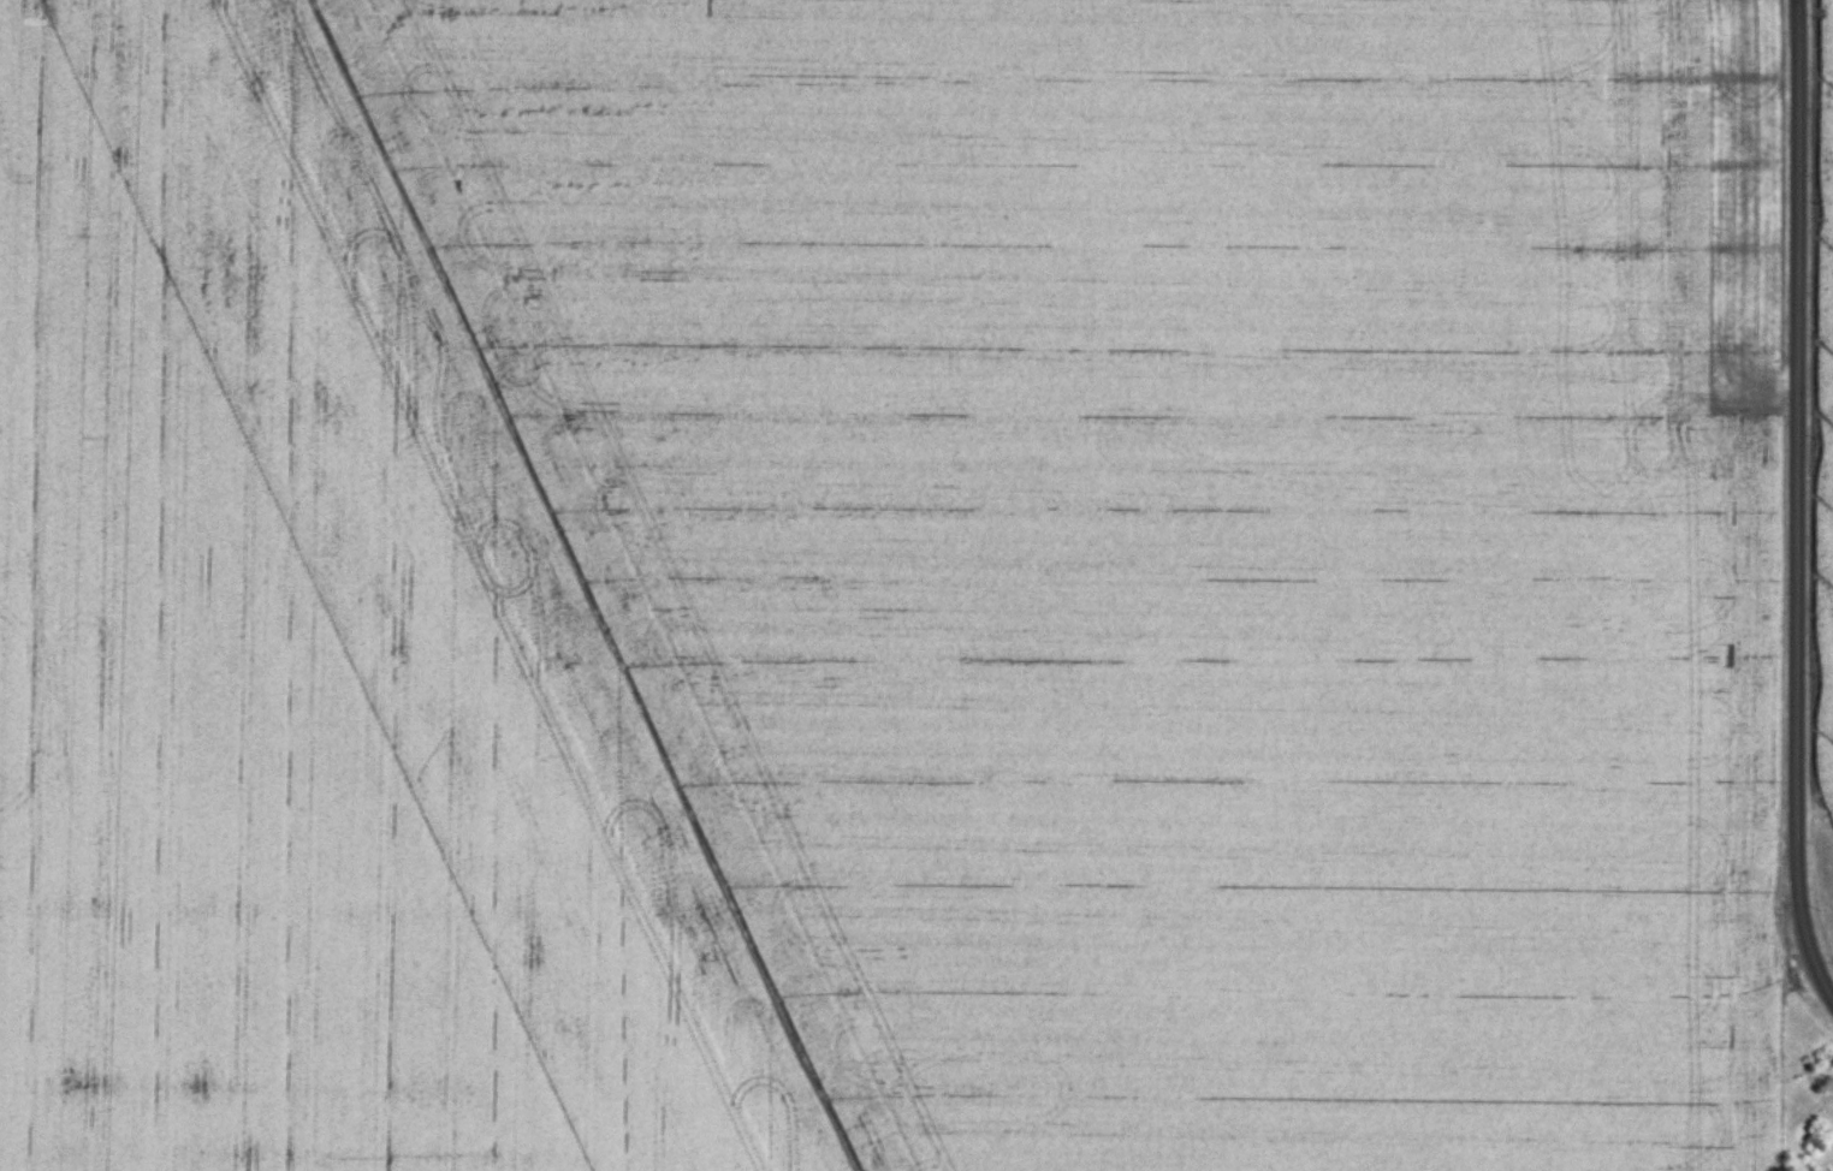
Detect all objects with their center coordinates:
road: (1797, 503)

